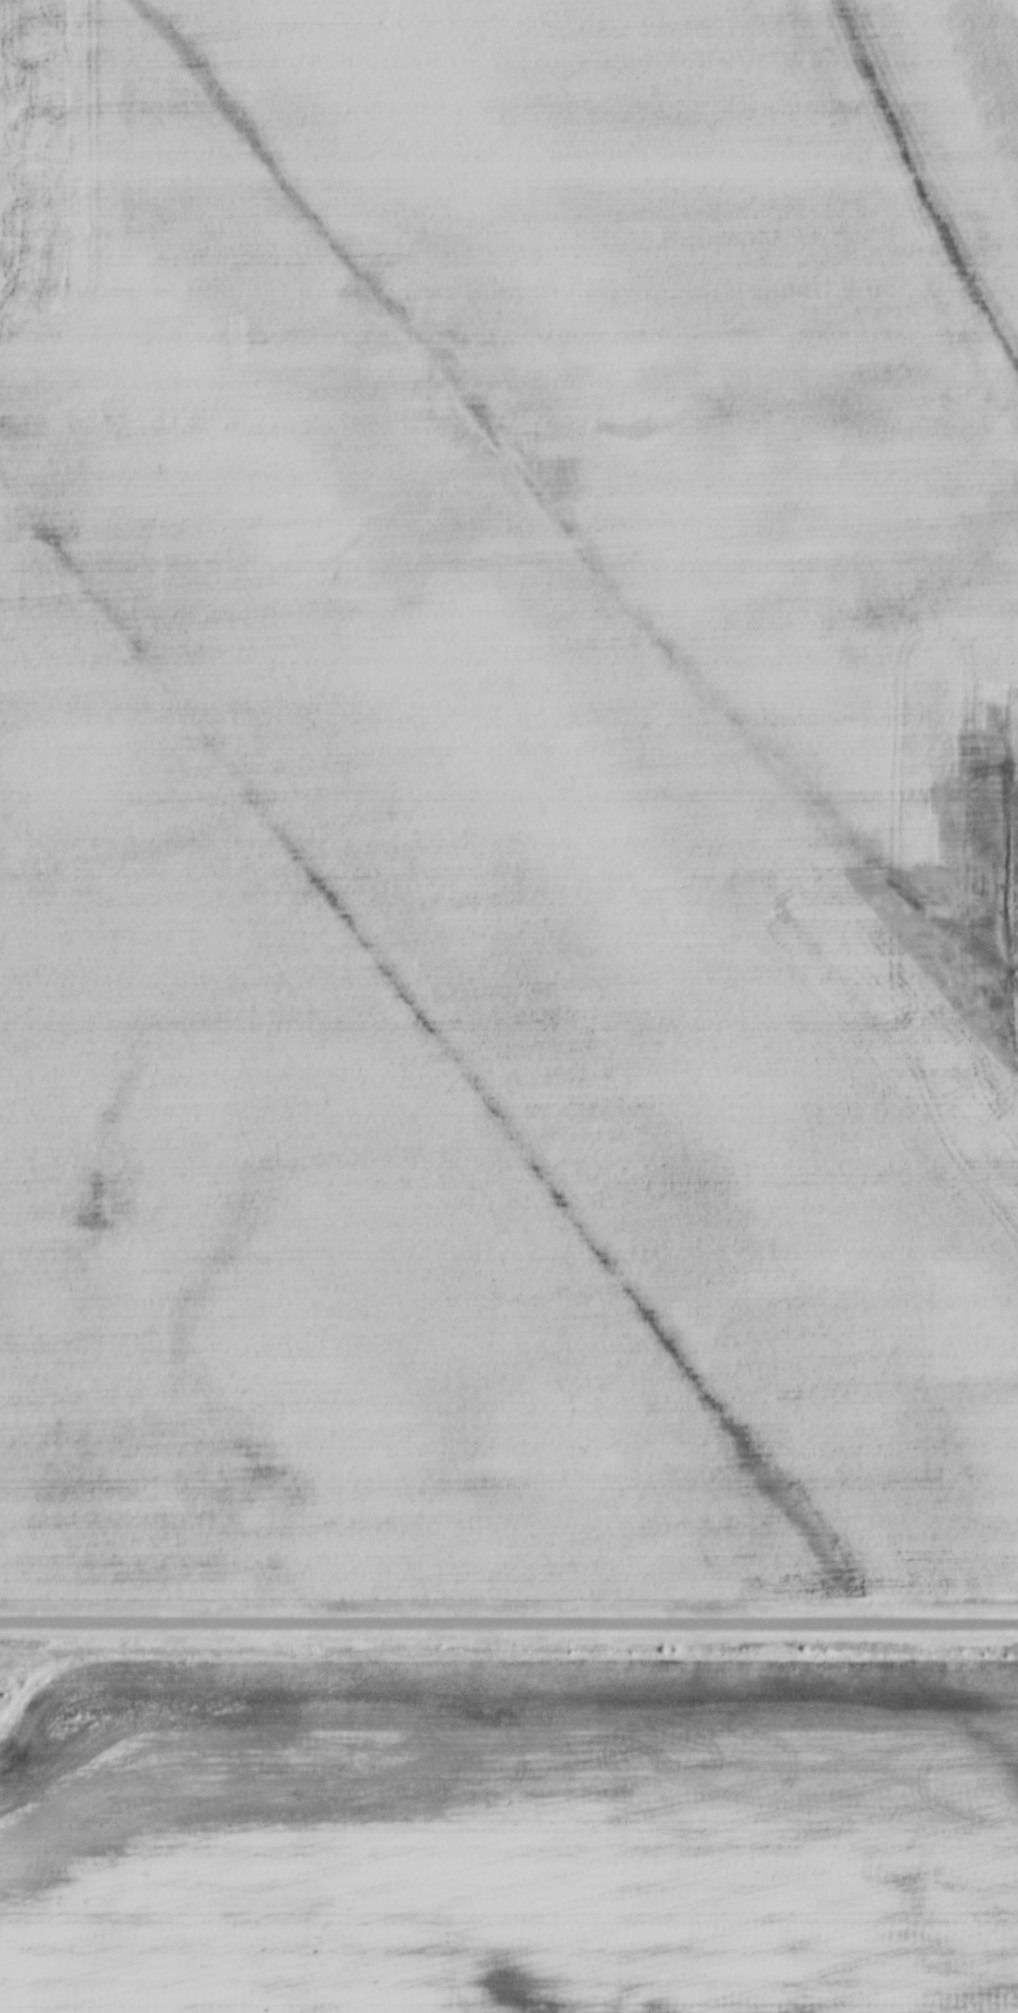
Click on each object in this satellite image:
road: (508, 1623)

